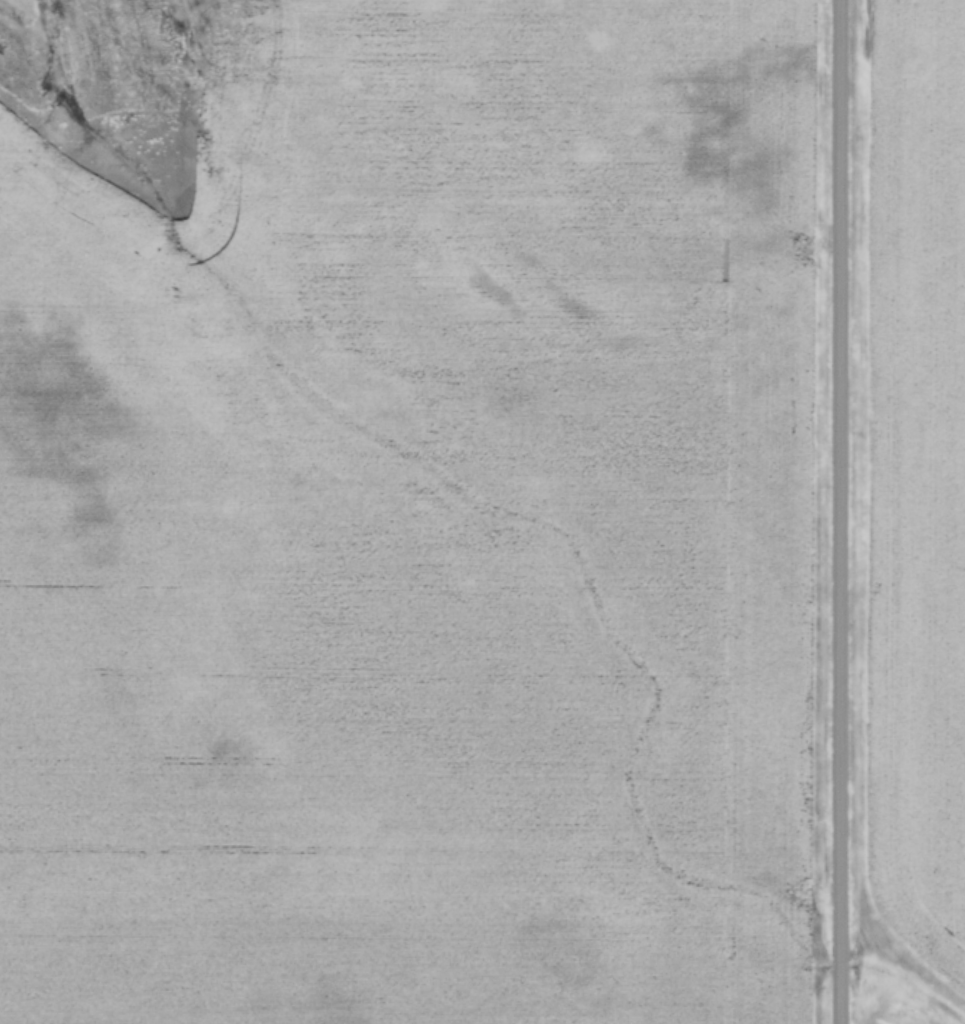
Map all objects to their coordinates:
road: (844, 512)

